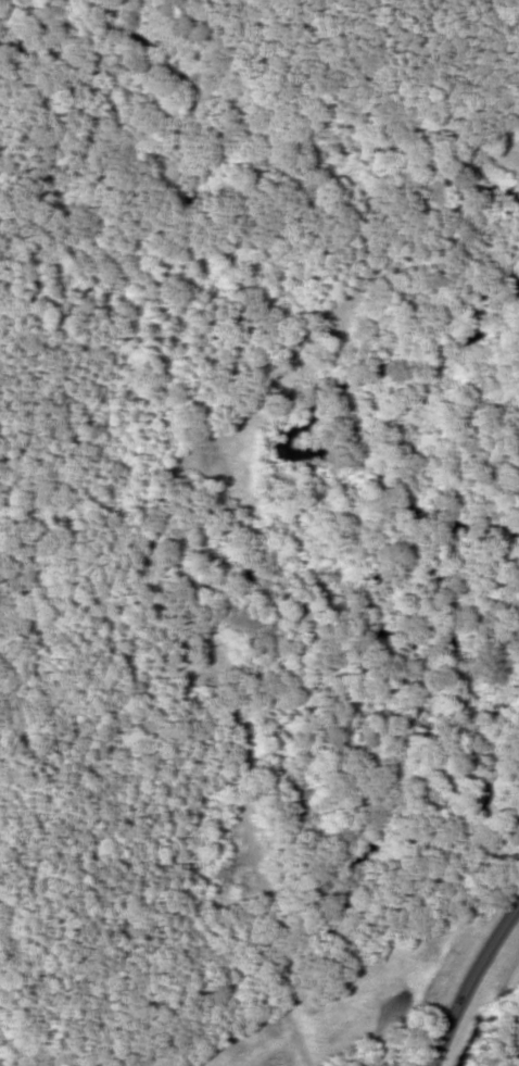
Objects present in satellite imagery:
road: (473, 979)

